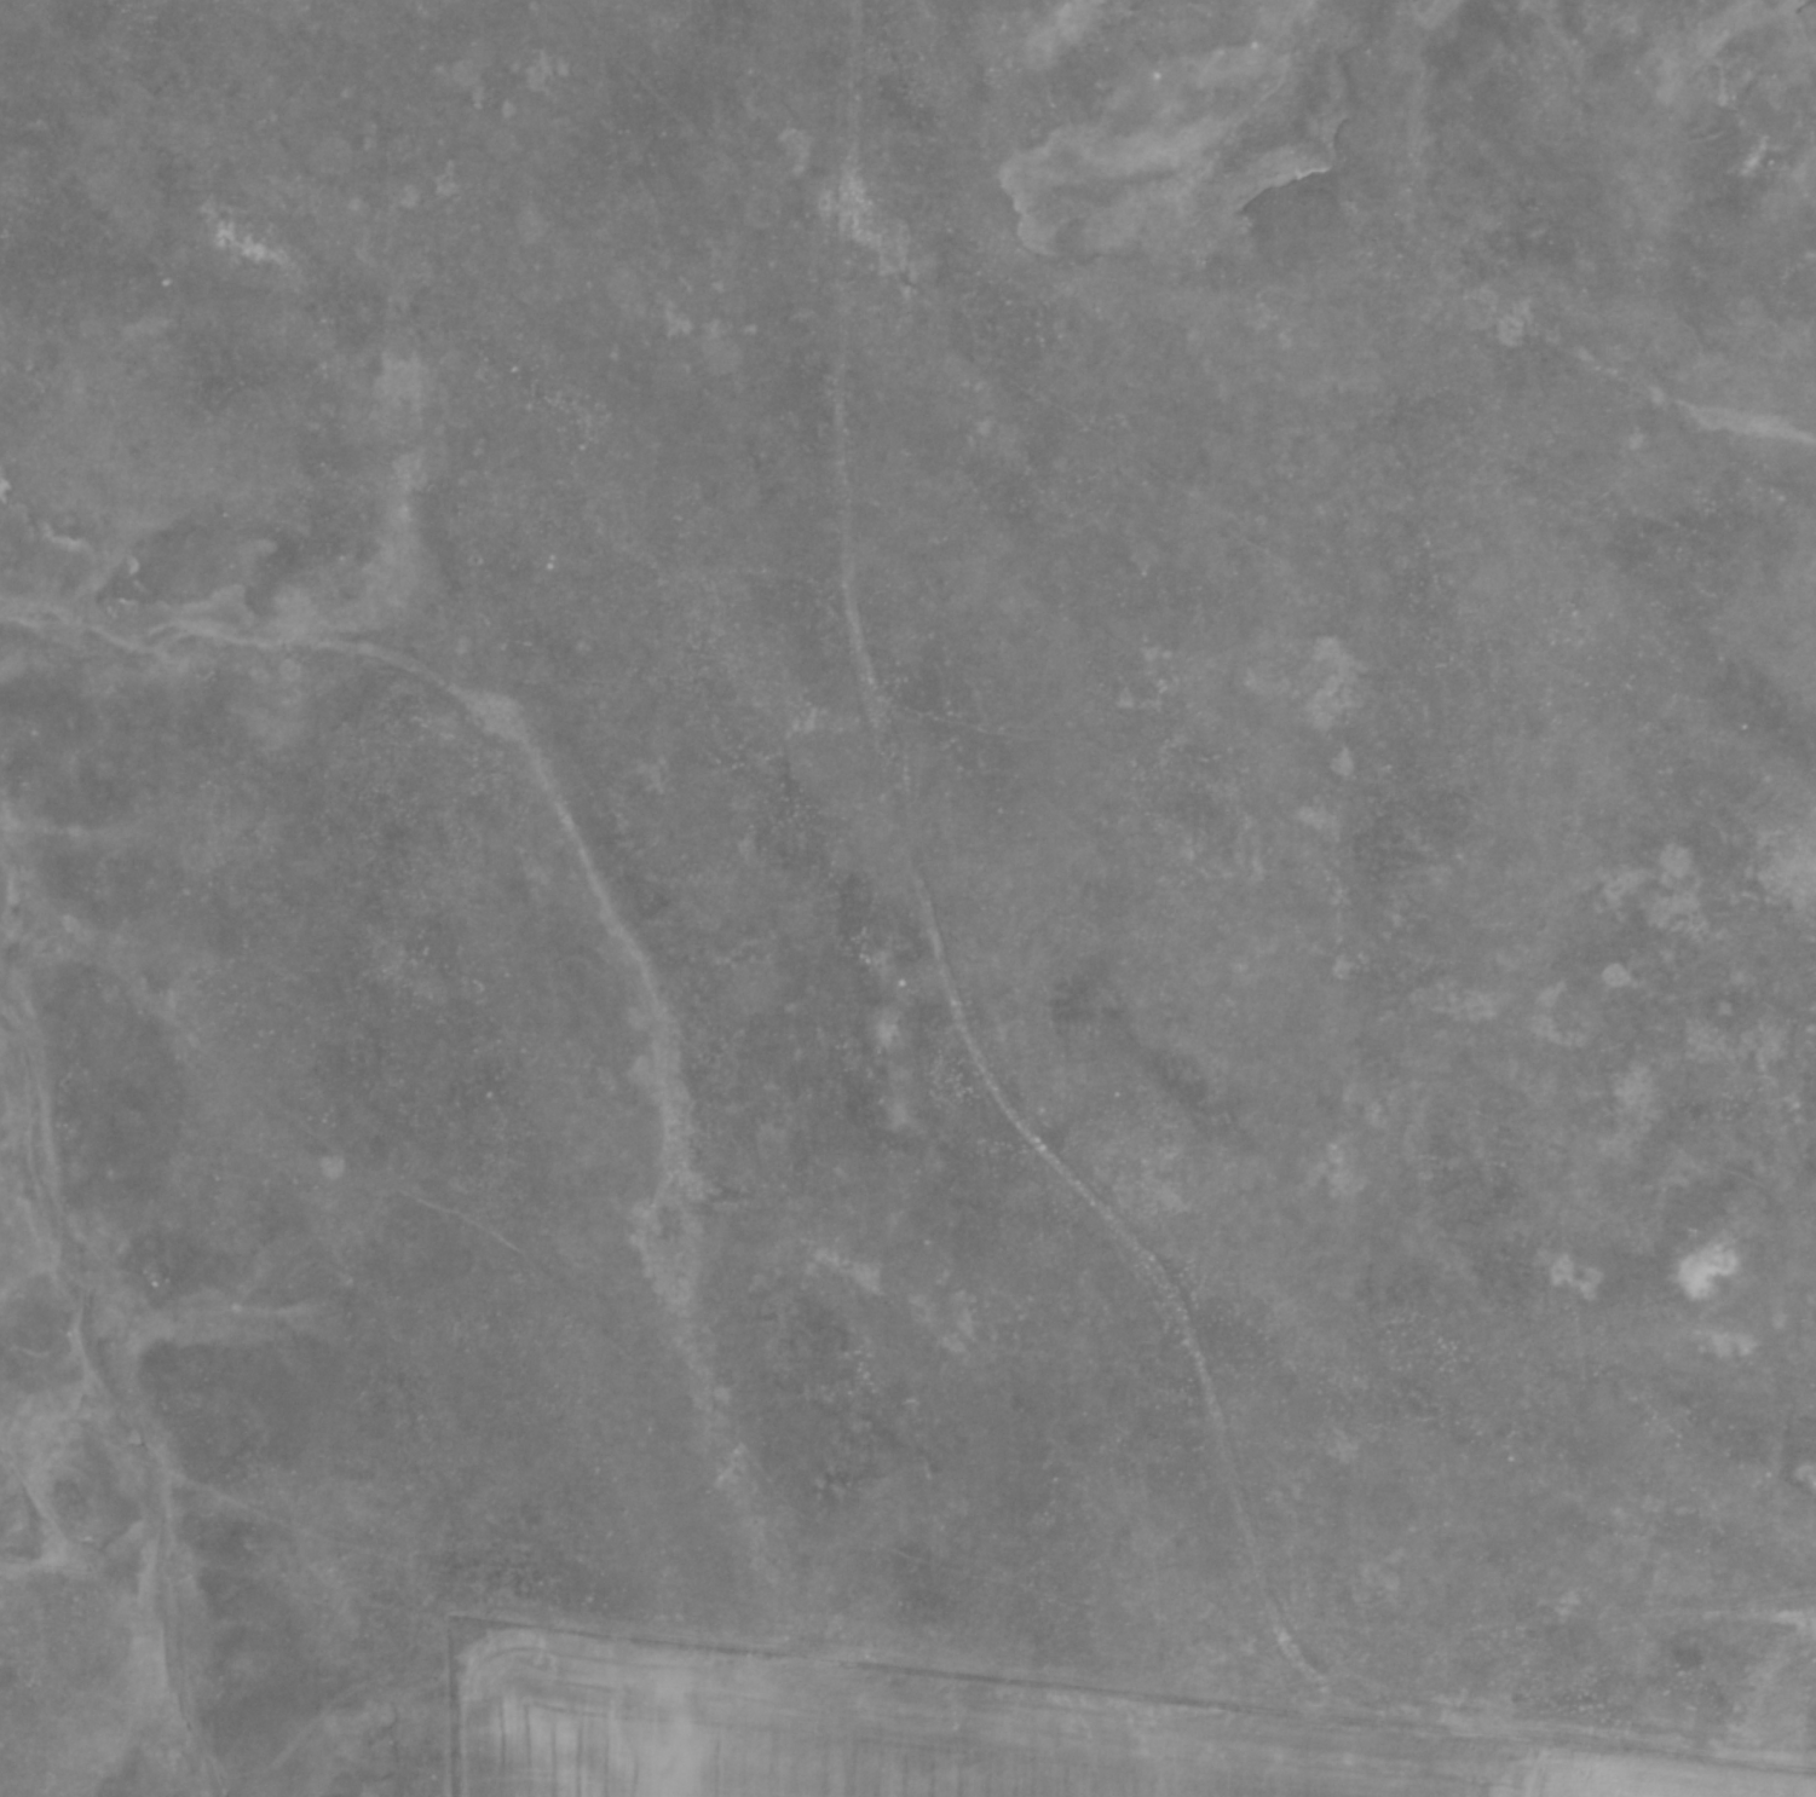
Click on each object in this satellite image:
crop: (12, 1496)
crop: (973, 1732)

